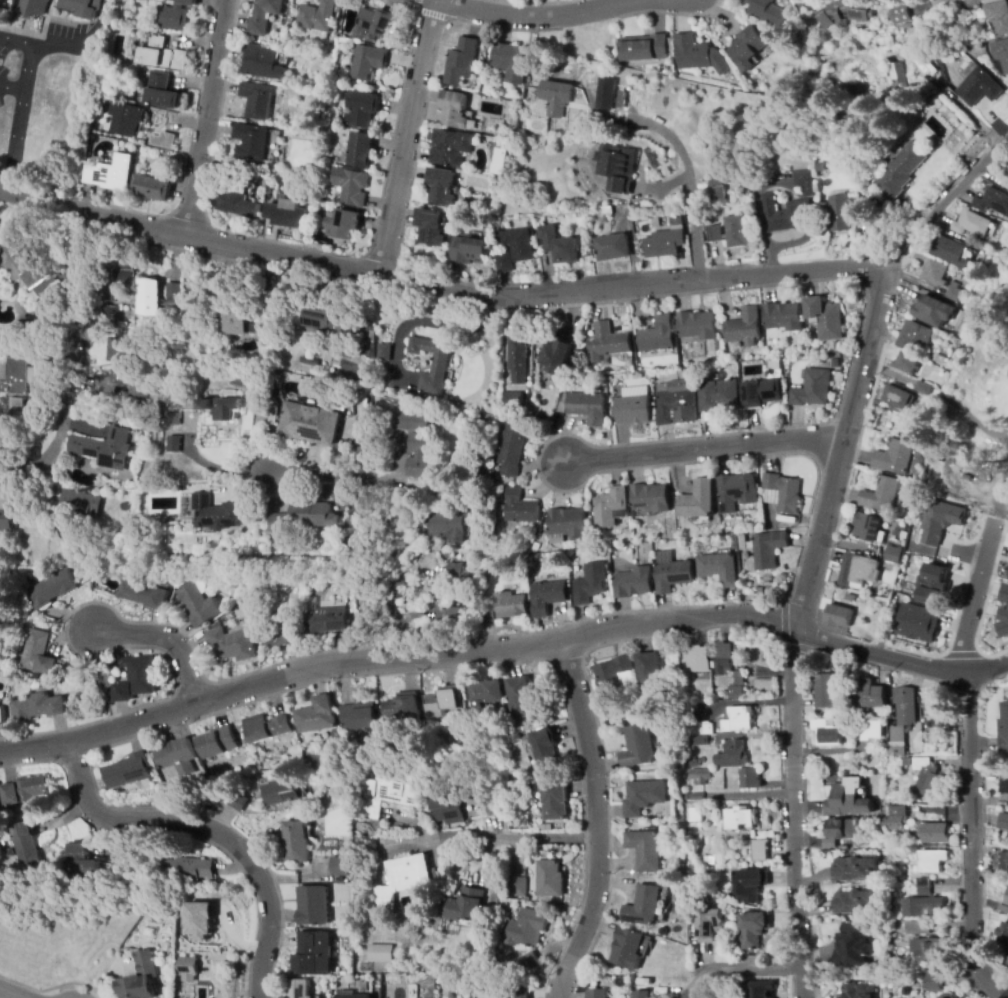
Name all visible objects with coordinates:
building: (81, 7)
building: (31, 8)
building: (765, 11)
building: (980, 12)
road: (426, 13)
building: (843, 13)
building: (176, 15)
building: (264, 16)
building: (900, 16)
building: (998, 16)
building: (317, 19)
road: (536, 19)
building: (374, 24)
road: (15, 40)
road: (53, 46)
building: (644, 48)
building: (747, 49)
building: (161, 54)
building: (697, 55)
building: (1002, 55)
building: (367, 62)
building: (461, 62)
building: (511, 62)
building: (263, 63)
building: (930, 65)
building: (898, 77)
building: (622, 85)
building: (858, 87)
building: (980, 88)
road: (11, 89)
building: (162, 92)
building: (606, 94)
building: (555, 97)
building: (256, 101)
building: (362, 110)
building: (456, 111)
road: (205, 118)
road: (17, 119)
building: (127, 121)
building: (845, 121)
road: (404, 137)
building: (162, 141)
building: (250, 142)
building: (451, 148)
building: (361, 151)
building: (820, 167)
building: (618, 168)
building: (900, 172)
building: (111, 174)
road: (691, 182)
building: (805, 182)
building: (351, 187)
building: (442, 187)
building: (152, 188)
building: (717, 192)
building: (993, 202)
building: (236, 204)
building: (606, 211)
building: (842, 212)
building: (286, 214)
building: (784, 214)
building: (971, 223)
building: (656, 224)
building: (677, 224)
building: (342, 225)
building: (431, 228)
building: (736, 232)
building: (715, 234)
building: (518, 244)
building: (664, 244)
building: (558, 246)
building: (612, 248)
building: (469, 251)
building: (1002, 251)
building: (950, 252)
building: (28, 261)
building: (505, 263)
building: (934, 274)
building: (125, 275)
road: (440, 286)
building: (954, 293)
building: (172, 294)
building: (147, 298)
building: (935, 310)
building: (109, 315)
building: (783, 318)
building: (825, 319)
building: (332, 320)
building: (235, 322)
building: (24, 326)
building: (697, 326)
building: (745, 328)
building: (915, 338)
building: (658, 339)
road: (78, 341)
building: (608, 344)
building: (837, 346)
building: (557, 352)
building: (384, 354)
building: (518, 361)
building: (939, 361)
building: (309, 362)
building: (774, 364)
building: (835, 364)
building: (907, 364)
road: (863, 365)
building: (435, 366)
building: (114, 369)
building: (17, 376)
building: (924, 387)
building: (812, 389)
building: (761, 393)
building: (136, 394)
building: (719, 396)
building: (899, 397)
building: (513, 400)
building: (562, 403)
building: (675, 403)
building: (15, 405)
building: (206, 405)
building: (633, 406)
building: (588, 407)
building: (227, 409)
building: (407, 421)
building: (303, 428)
building: (913, 428)
building: (173, 443)
road: (703, 448)
building: (104, 449)
building: (510, 450)
building: (419, 456)
building: (894, 458)
building: (11, 464)
road: (217, 467)
building: (736, 492)
building: (780, 493)
building: (652, 499)
building: (883, 500)
building: (80, 502)
building: (698, 502)
building: (6, 505)
building: (269, 505)
building: (519, 508)
building: (612, 508)
building: (217, 513)
road: (374, 517)
building: (304, 518)
building: (939, 523)
building: (448, 525)
building: (567, 525)
building: (868, 528)
building: (767, 549)
building: (894, 555)
building: (719, 568)
building: (454, 571)
building: (671, 573)
building: (860, 576)
building: (589, 584)
building: (632, 584)
building: (932, 586)
building: (52, 589)
building: (143, 594)
building: (774, 595)
building: (547, 598)
building: (851, 598)
building: (1005, 598)
road: (973, 602)
building: (197, 605)
building: (502, 608)
building: (456, 616)
building: (838, 617)
road: (683, 620)
building: (326, 625)
building: (918, 625)
building: (1004, 626)
building: (279, 635)
road: (168, 645)
building: (232, 645)
building: (37, 653)
building: (696, 659)
building: (725, 659)
road: (904, 662)
building: (650, 673)
road: (278, 675)
building: (136, 679)
building: (615, 679)
building: (103, 681)
building: (739, 687)
building: (824, 691)
building: (487, 693)
building: (874, 695)
building: (519, 697)
building: (441, 701)
building: (37, 707)
building: (402, 707)
building: (937, 713)
building: (2, 716)
building: (315, 716)
building: (358, 717)
building: (740, 719)
building: (901, 719)
building: (703, 728)
building: (869, 730)
building: (1003, 730)
building: (264, 732)
building: (826, 734)
building: (334, 735)
building: (308, 740)
building: (697, 741)
building: (215, 743)
building: (278, 743)
building: (288, 745)
building: (638, 747)
building: (545, 749)
building: (732, 755)
building: (174, 761)
building: (694, 763)
building: (127, 772)
building: (700, 776)
building: (927, 779)
building: (750, 780)
building: (1004, 786)
building: (27, 791)
building: (284, 792)
building: (392, 792)
building: (644, 797)
building: (848, 800)
building: (239, 802)
building: (554, 802)
building: (448, 809)
building: (696, 814)
road: (797, 817)
building: (896, 818)
building: (740, 819)
road: (598, 821)
building: (1003, 822)
building: (840, 828)
road: (210, 831)
building: (936, 834)
building: (1001, 838)
road: (495, 839)
building: (820, 842)
road: (970, 842)
building: (297, 843)
building: (26, 847)
building: (645, 850)
building: (758, 851)
building: (10, 853)
building: (707, 860)
building: (932, 861)
building: (1003, 861)
building: (81, 862)
building: (339, 866)
building: (855, 869)
building: (184, 871)
building: (402, 879)
building: (551, 879)
building: (750, 882)
building: (923, 882)
building: (518, 886)
building: (923, 892)
building: (1007, 900)
building: (855, 901)
building: (466, 905)
building: (313, 906)
building: (644, 907)
building: (926, 907)
building: (201, 920)
building: (709, 926)
building: (527, 928)
building: (753, 929)
building: (1003, 935)
building: (854, 945)
building: (926, 946)
building: (627, 949)
building: (380, 953)
building: (313, 955)
building: (529, 963)
building: (190, 970)
road: (763, 974)
building: (140, 978)
building: (931, 984)
building: (297, 989)
building: (753, 990)
building: (858, 991)
road: (13, 992)
building: (597, 993)
building: (643, 993)
building: (515, 994)
building: (348, 995)
building: (947, 996)

